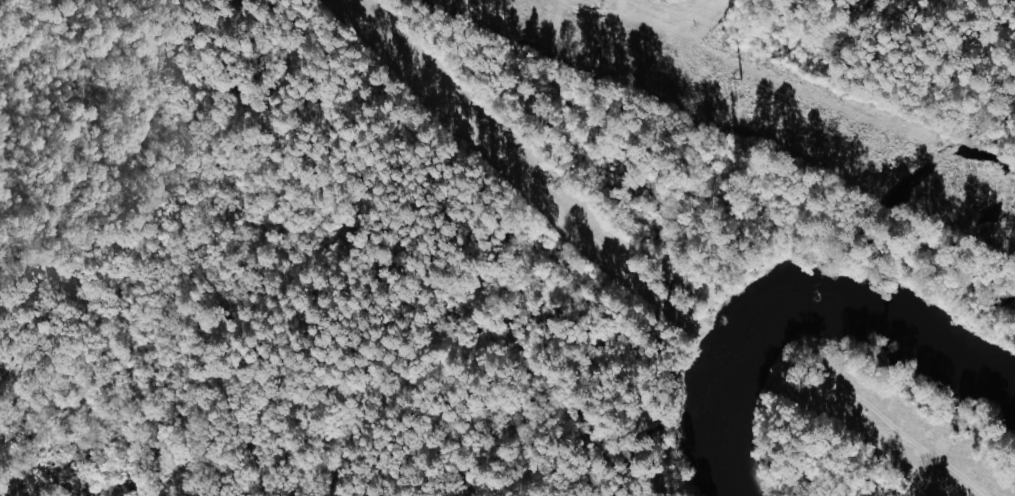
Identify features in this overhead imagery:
power tower: (733, 108)
river: (794, 292)

